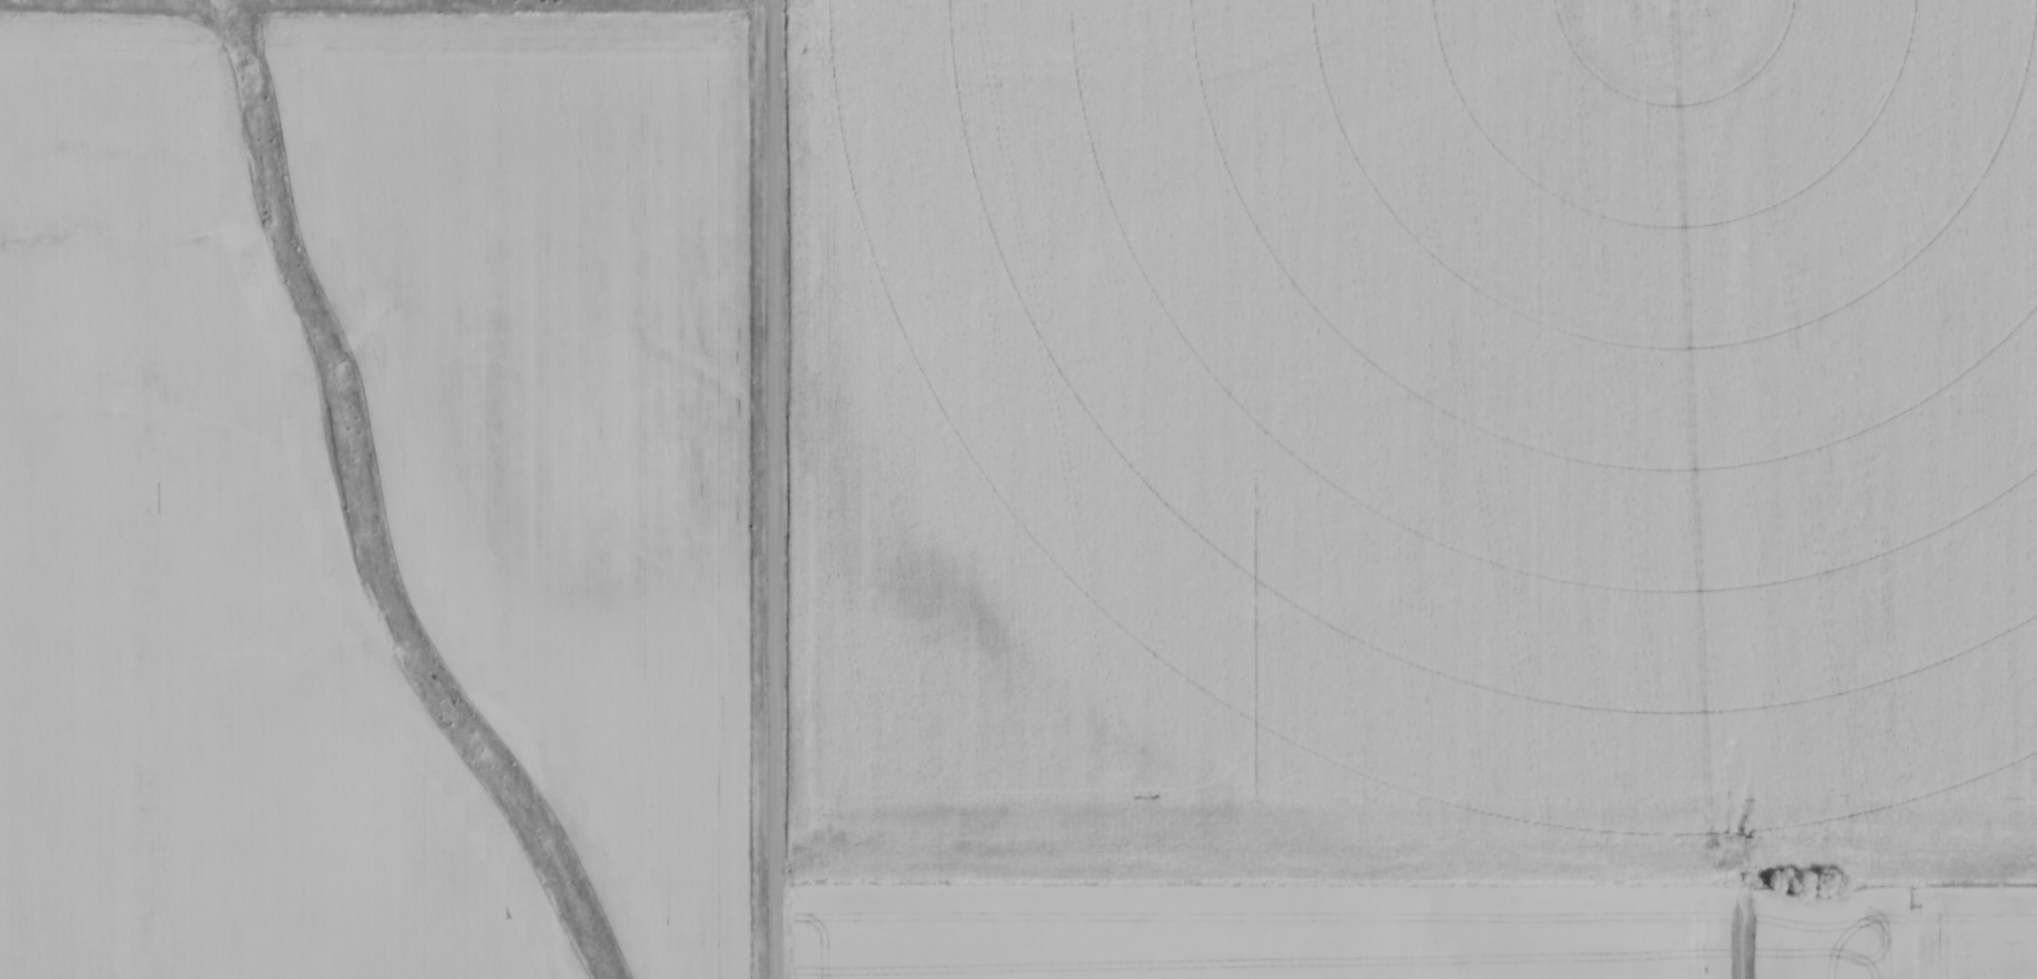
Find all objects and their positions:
road: (772, 489)

